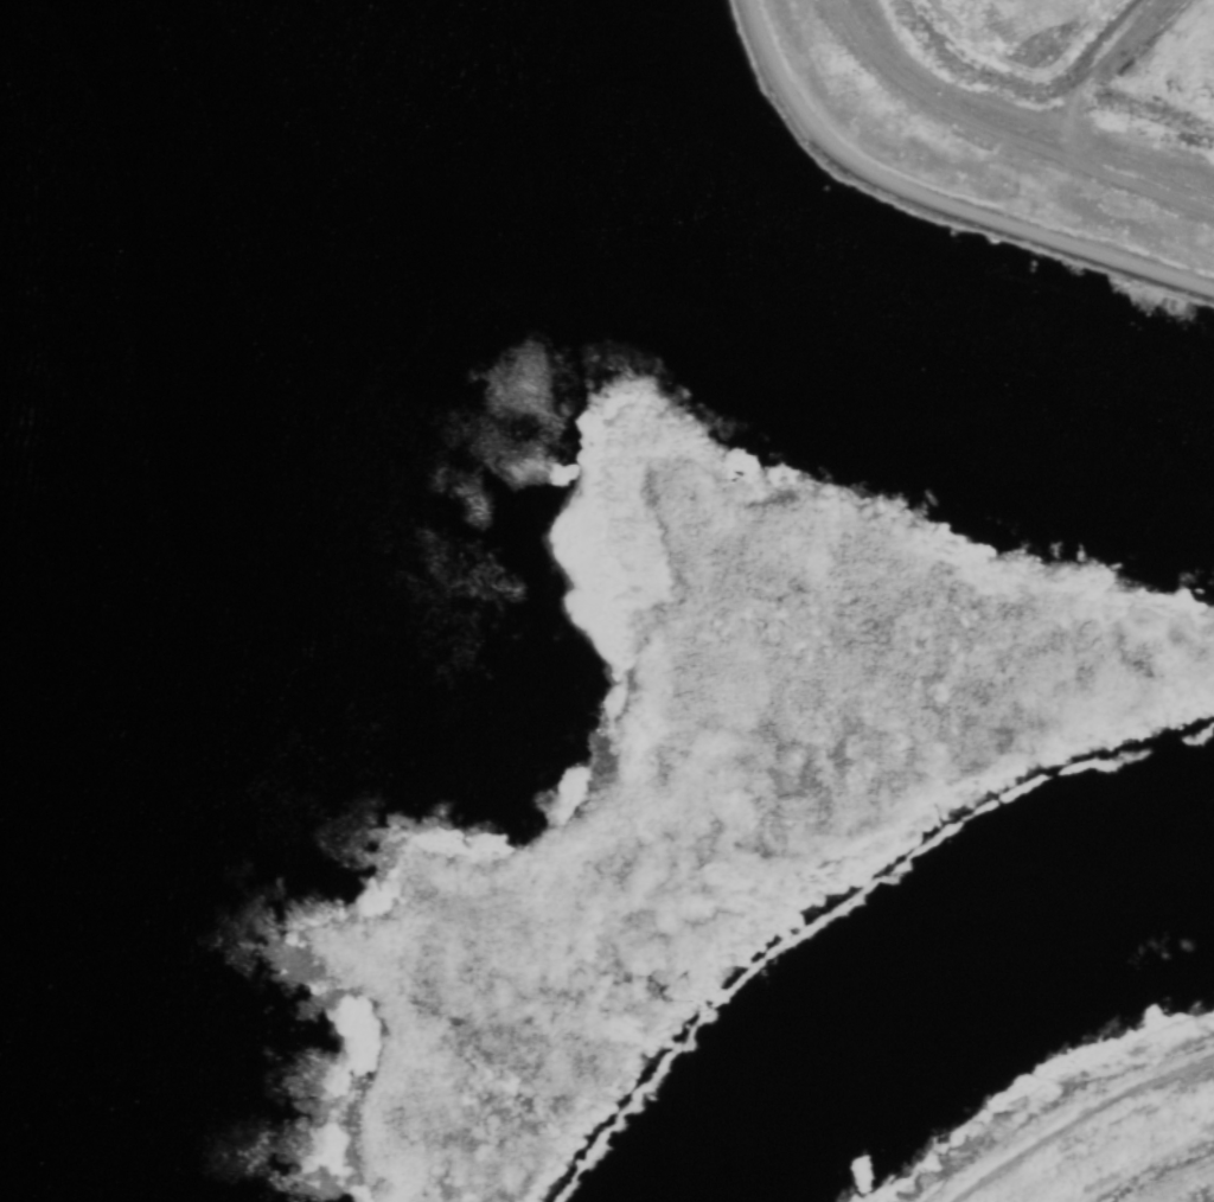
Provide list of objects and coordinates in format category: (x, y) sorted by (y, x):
river: (11, 52)
crop: (1078, 77)
road: (937, 199)
river: (784, 322)
river: (922, 977)
crop: (1156, 1177)

